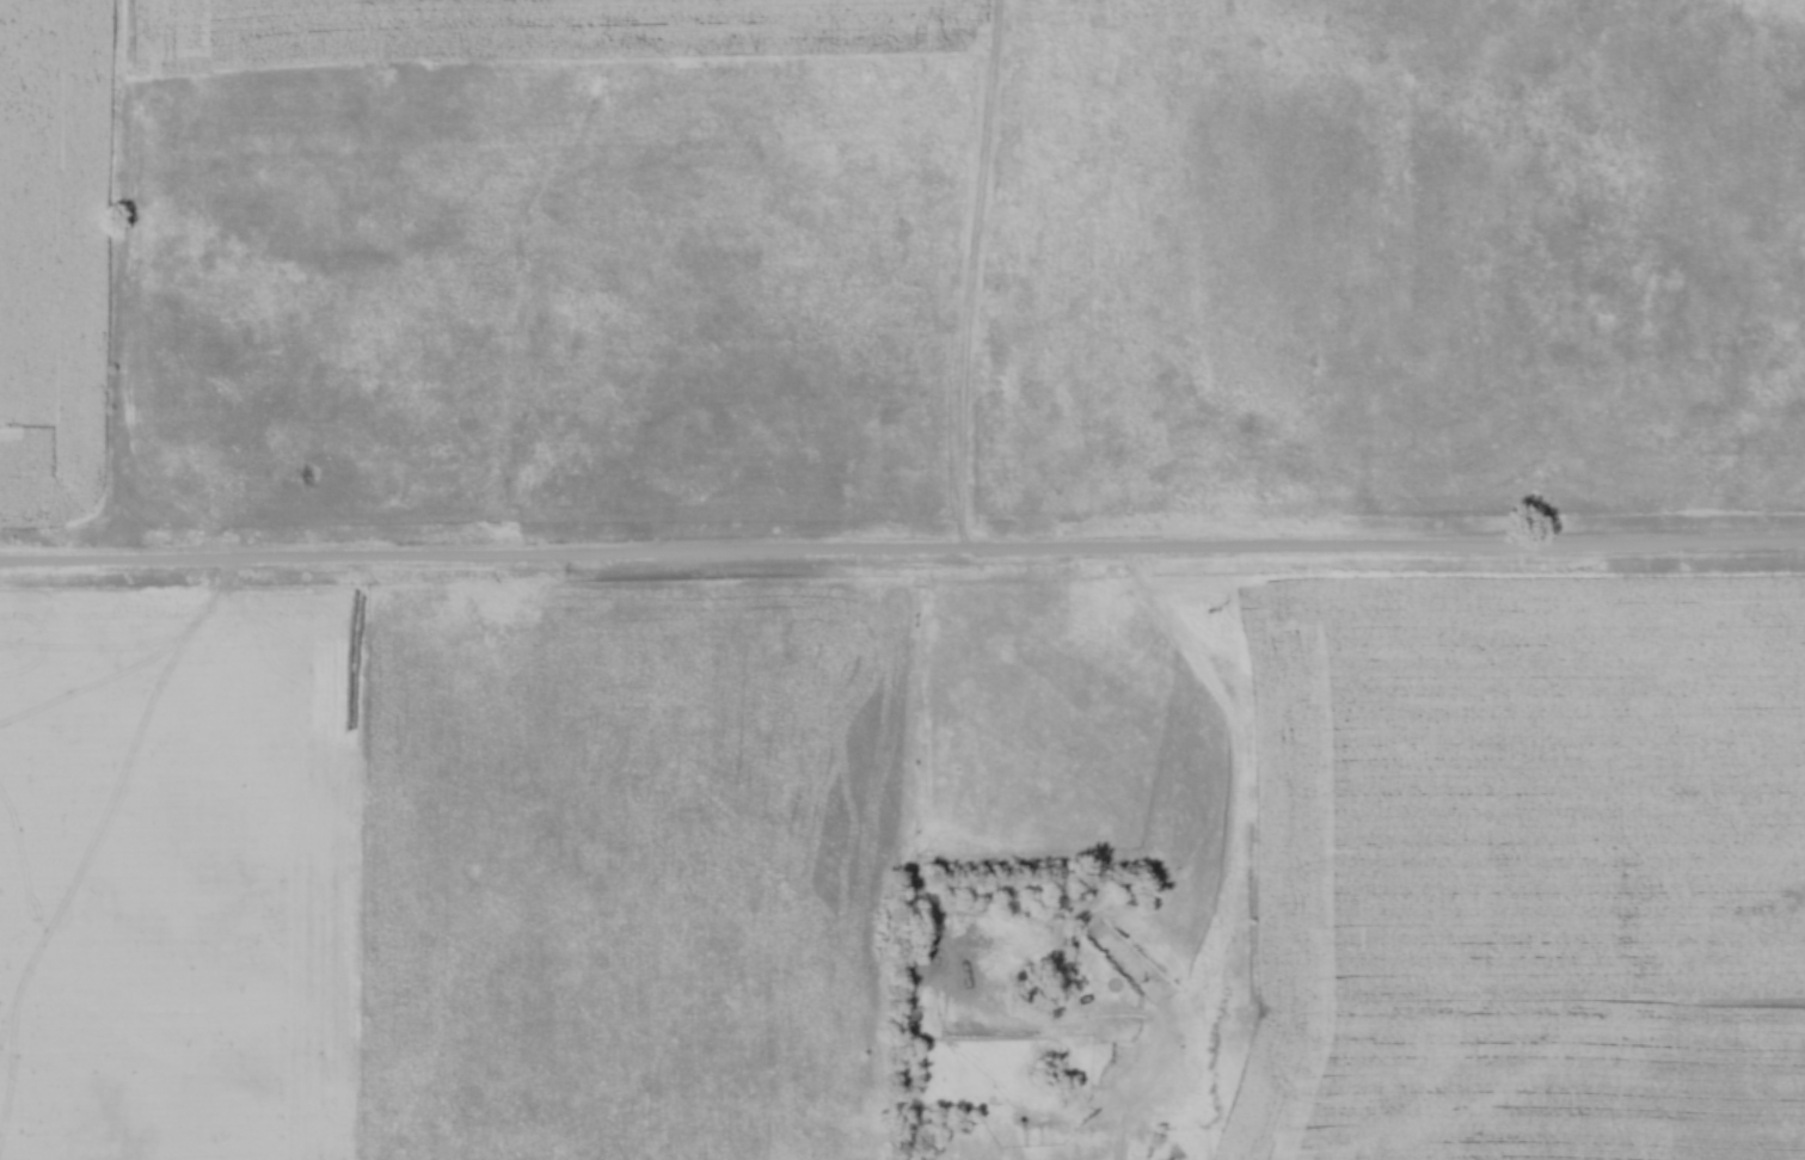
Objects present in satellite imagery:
crop: (529, 33)
crop: (55, 258)
road: (975, 307)
road: (902, 548)
road: (1244, 858)

